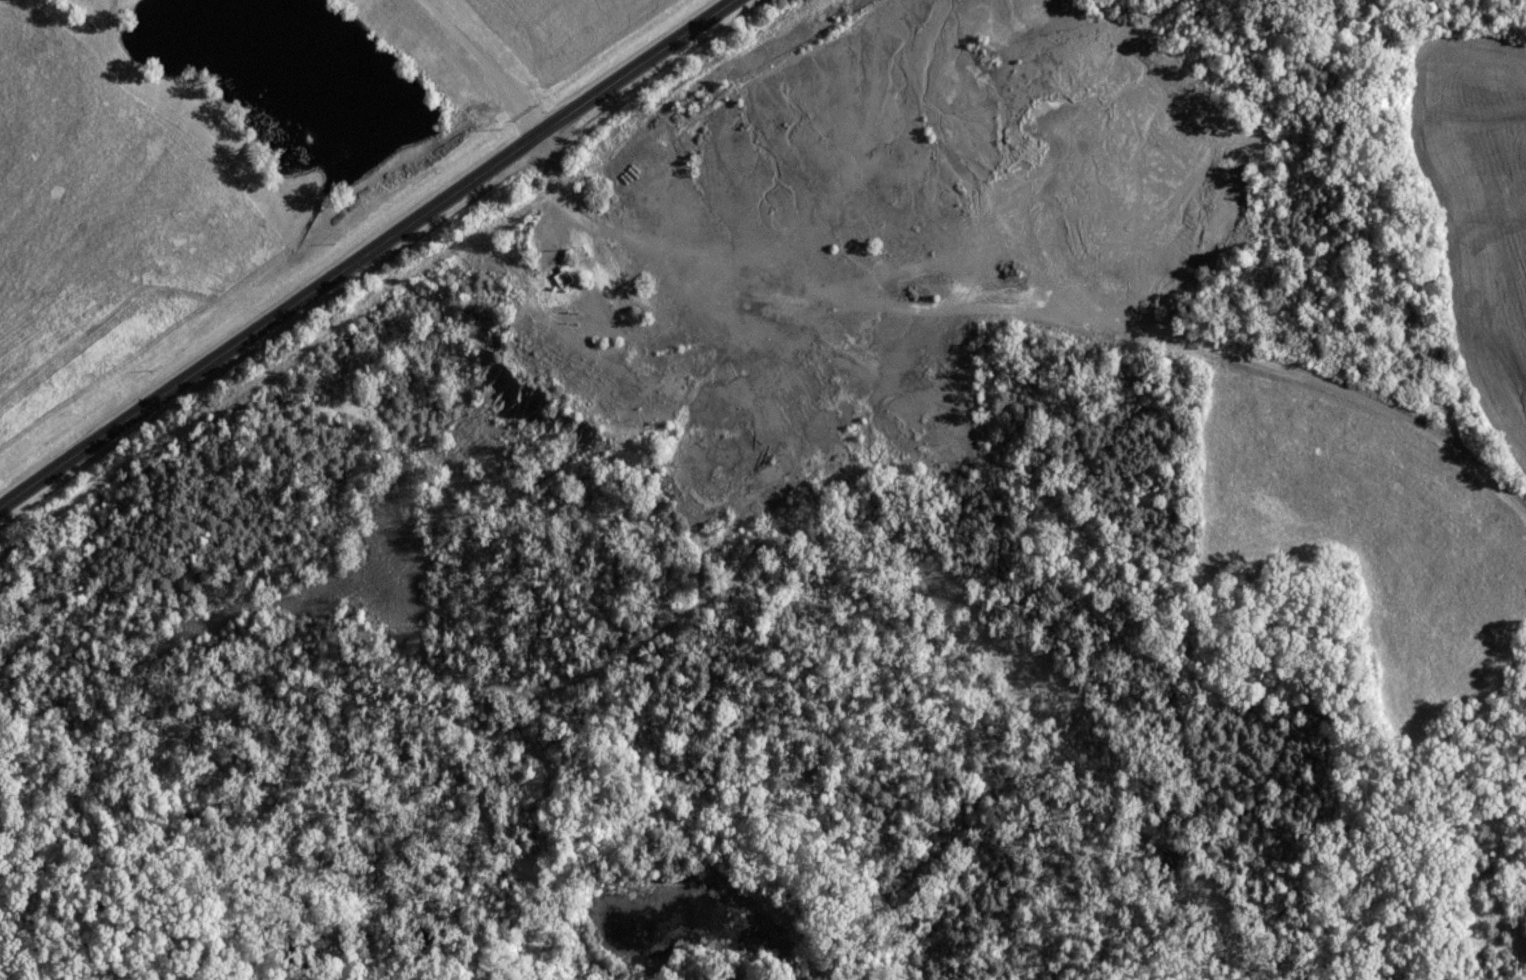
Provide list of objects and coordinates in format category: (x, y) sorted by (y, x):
road: (478, 63)
road: (363, 249)
road: (734, 267)
road: (1052, 312)

